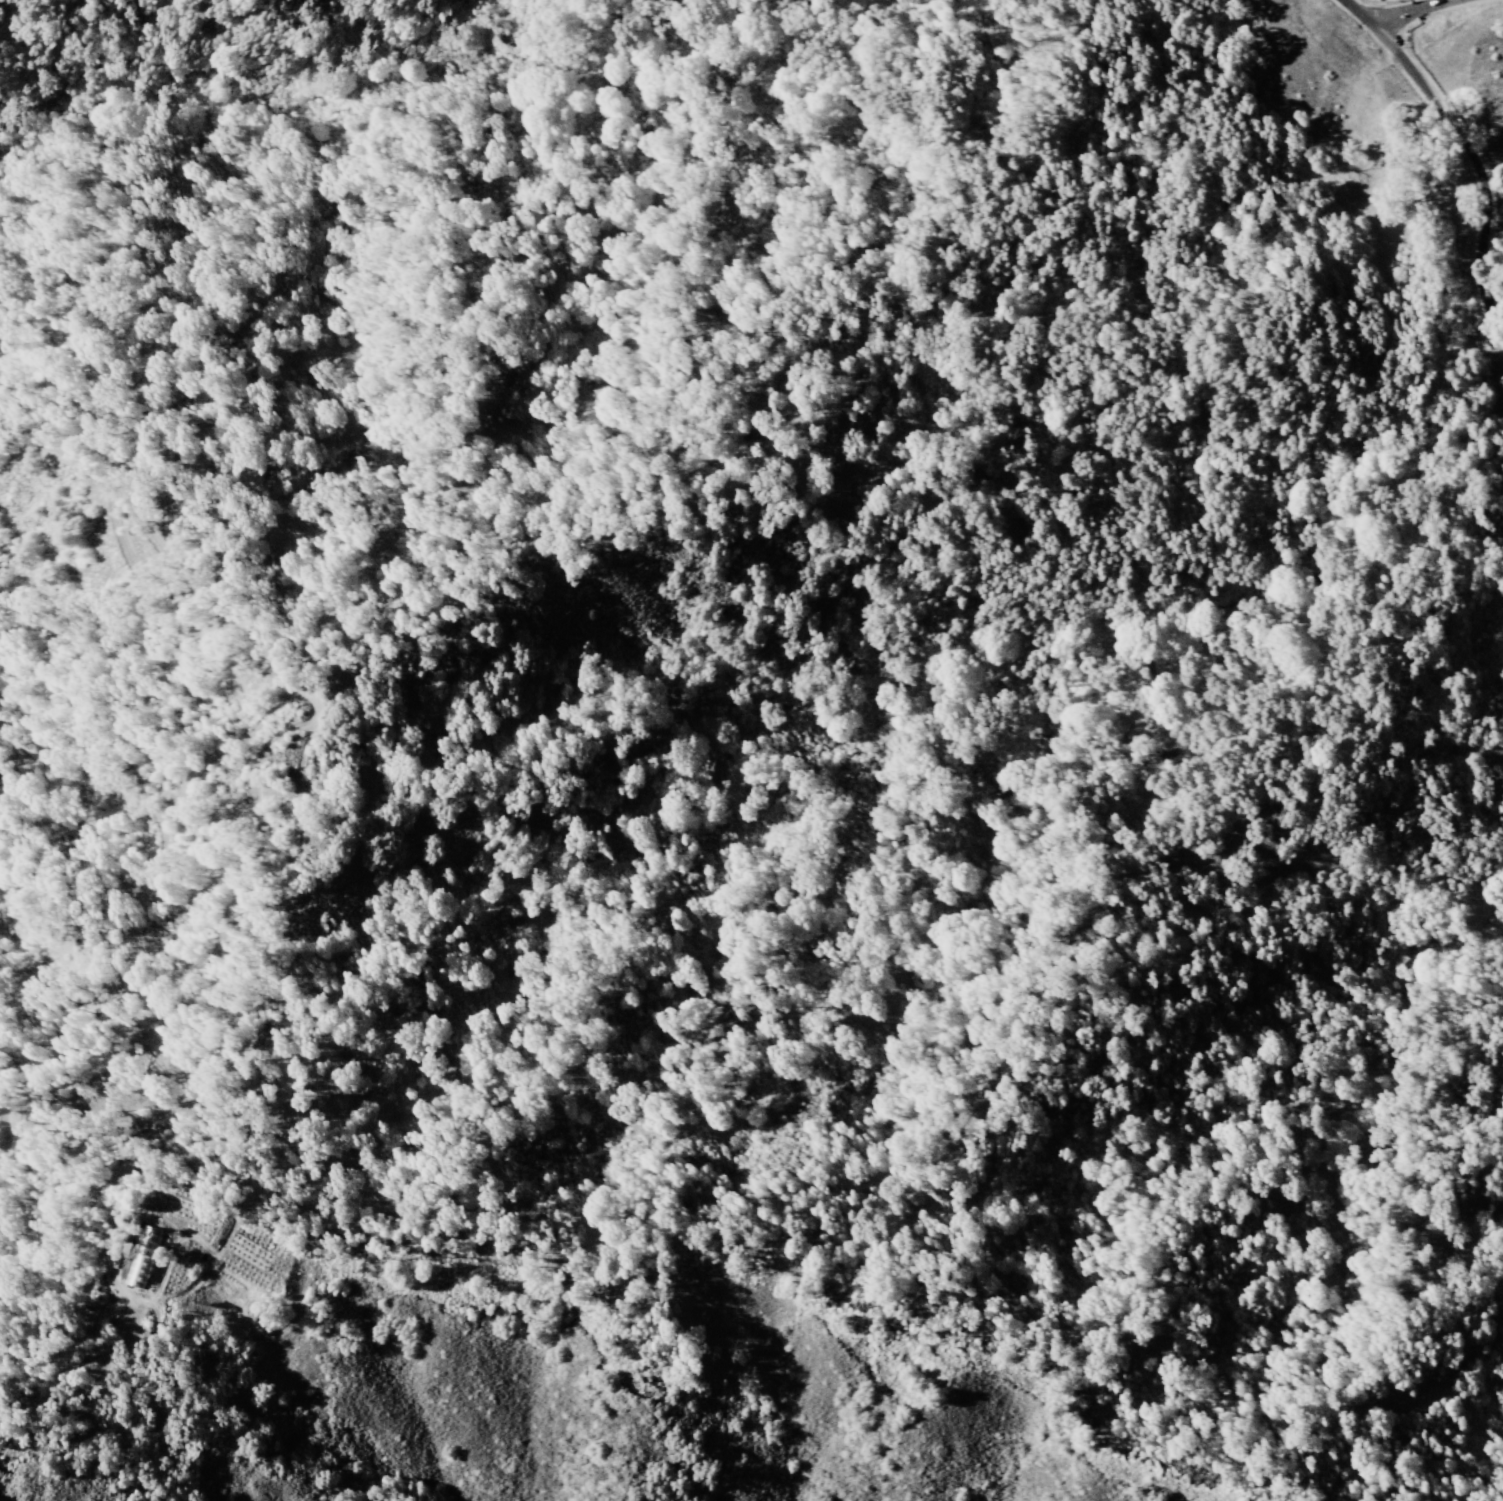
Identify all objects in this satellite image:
road: (1418, 13)
road: (1472, 147)
building: (197, 1214)
building: (145, 1254)
building: (259, 1256)

